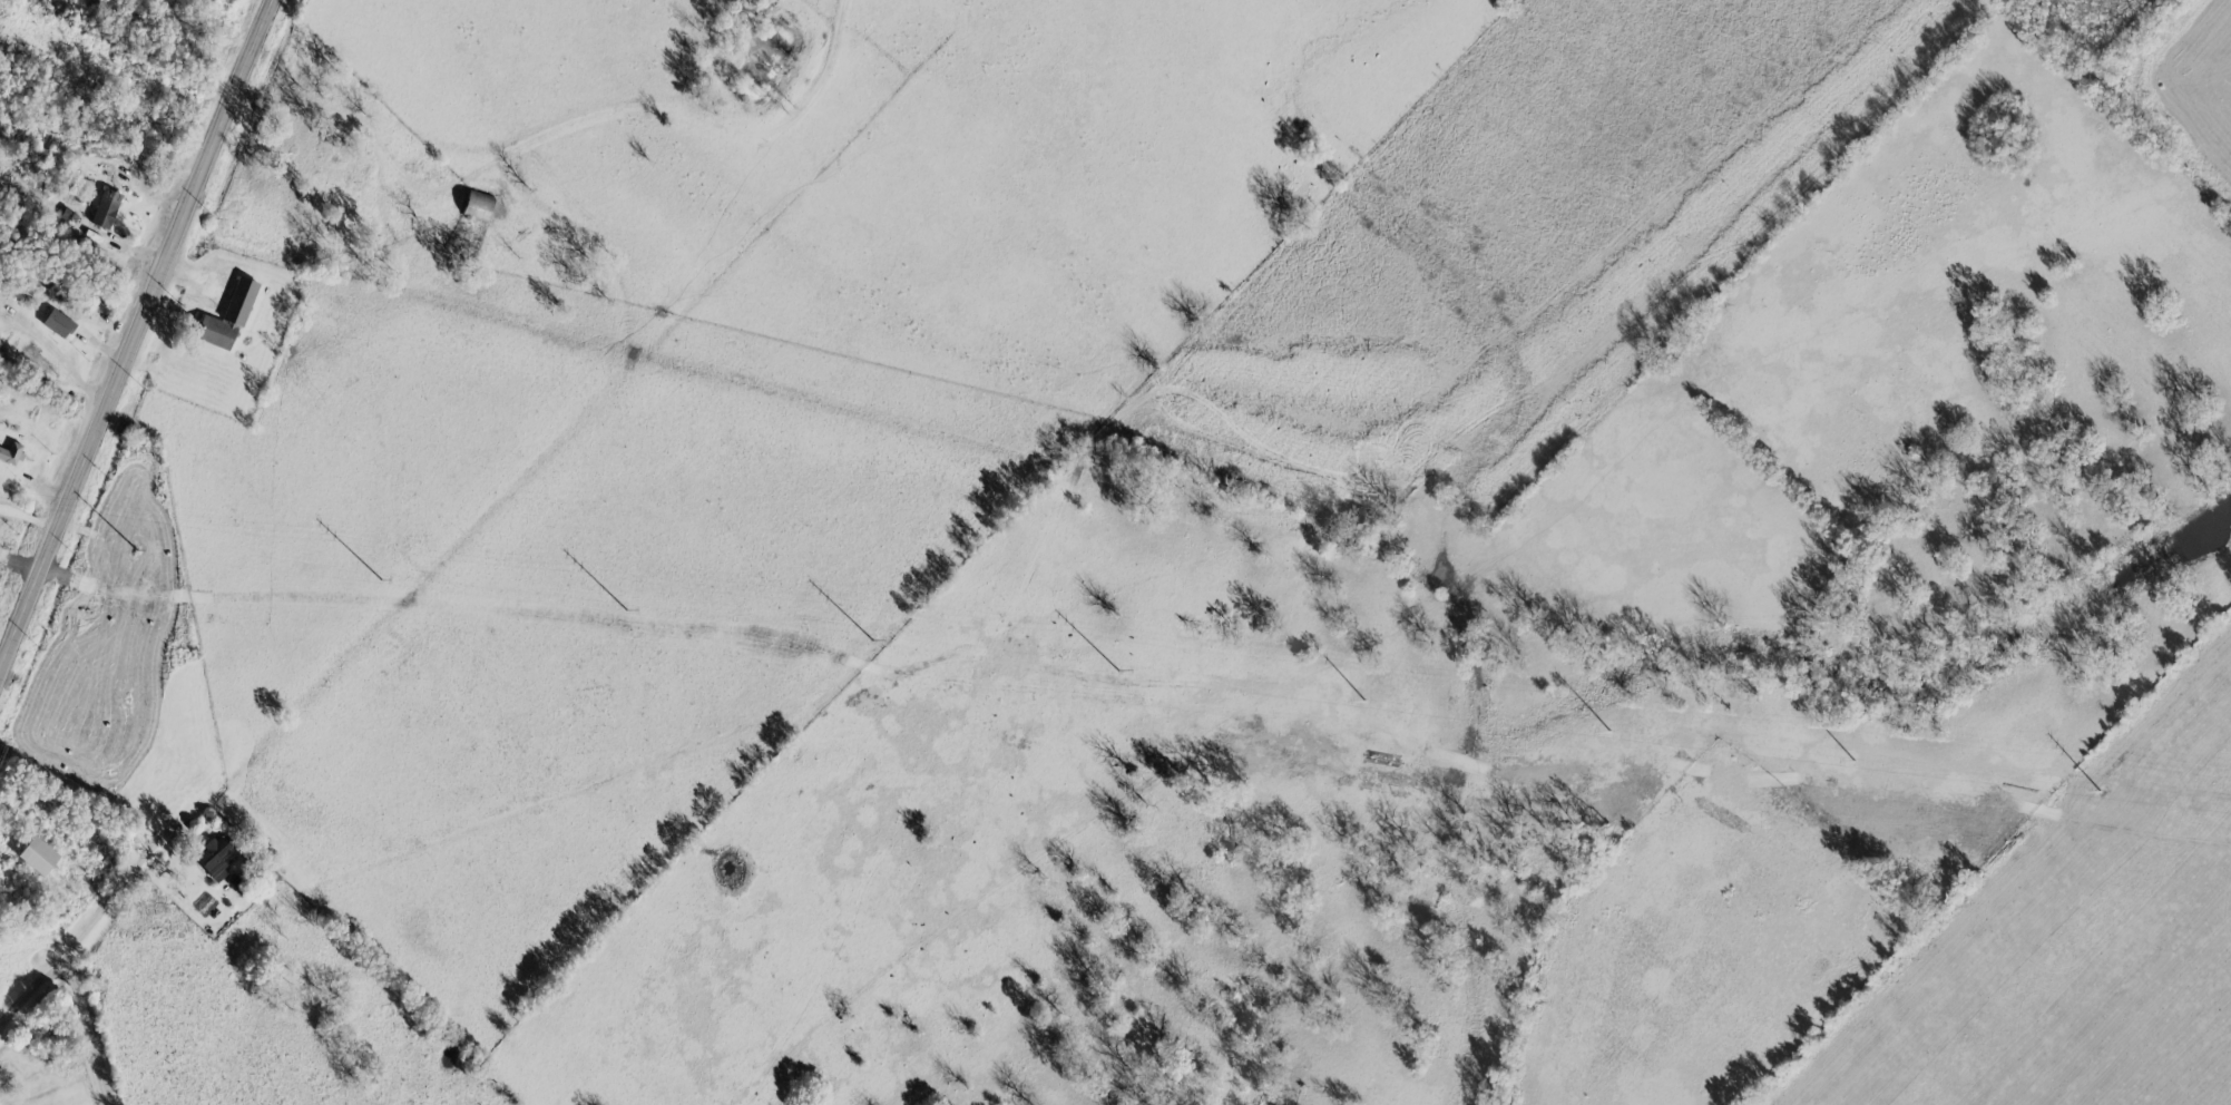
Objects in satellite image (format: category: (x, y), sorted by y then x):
road: (2144, 117)
building: (472, 206)
building: (101, 208)
building: (224, 315)
building: (53, 322)
road: (134, 327)
building: (35, 358)
building: (9, 453)
building: (32, 855)
building: (211, 859)
road: (127, 879)
road: (32, 989)
road: (96, 1026)

